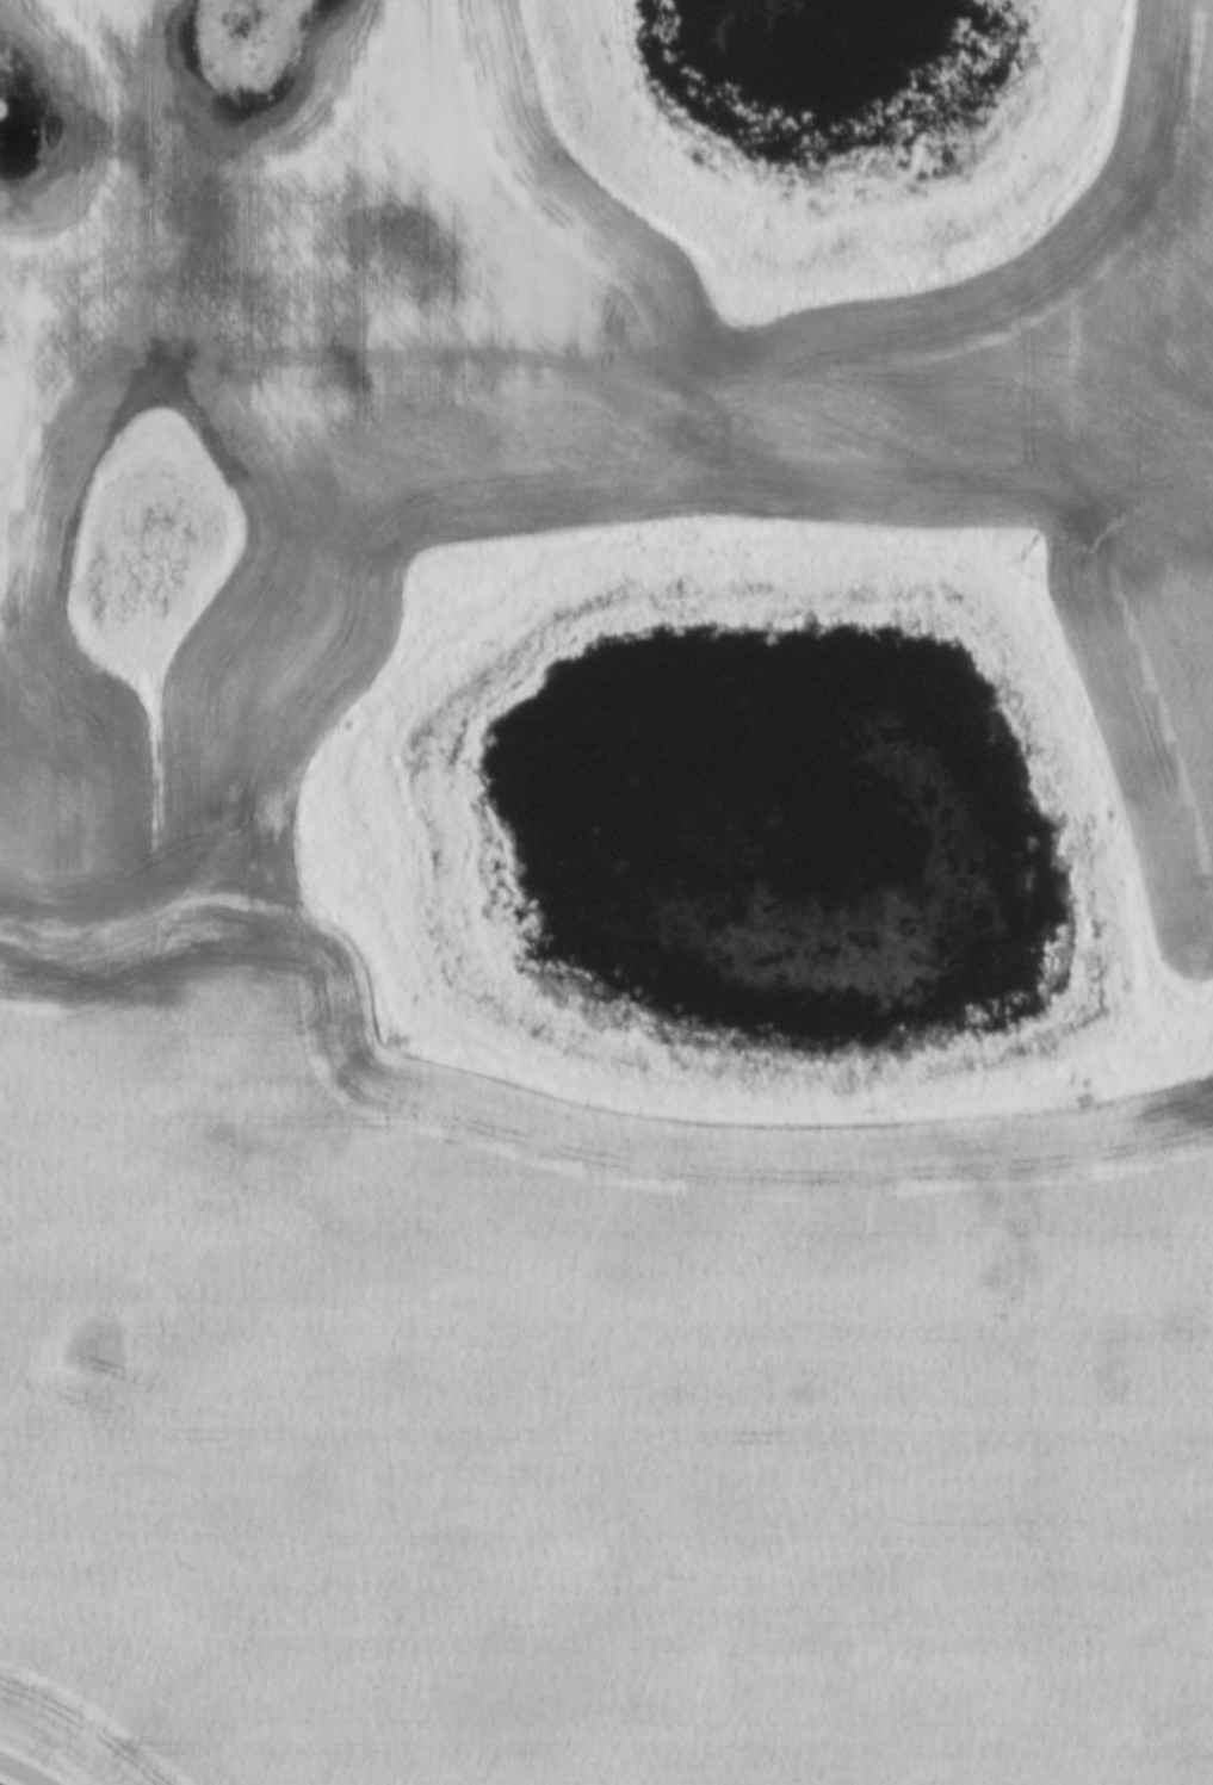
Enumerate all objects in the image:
road: (23, 1772)

